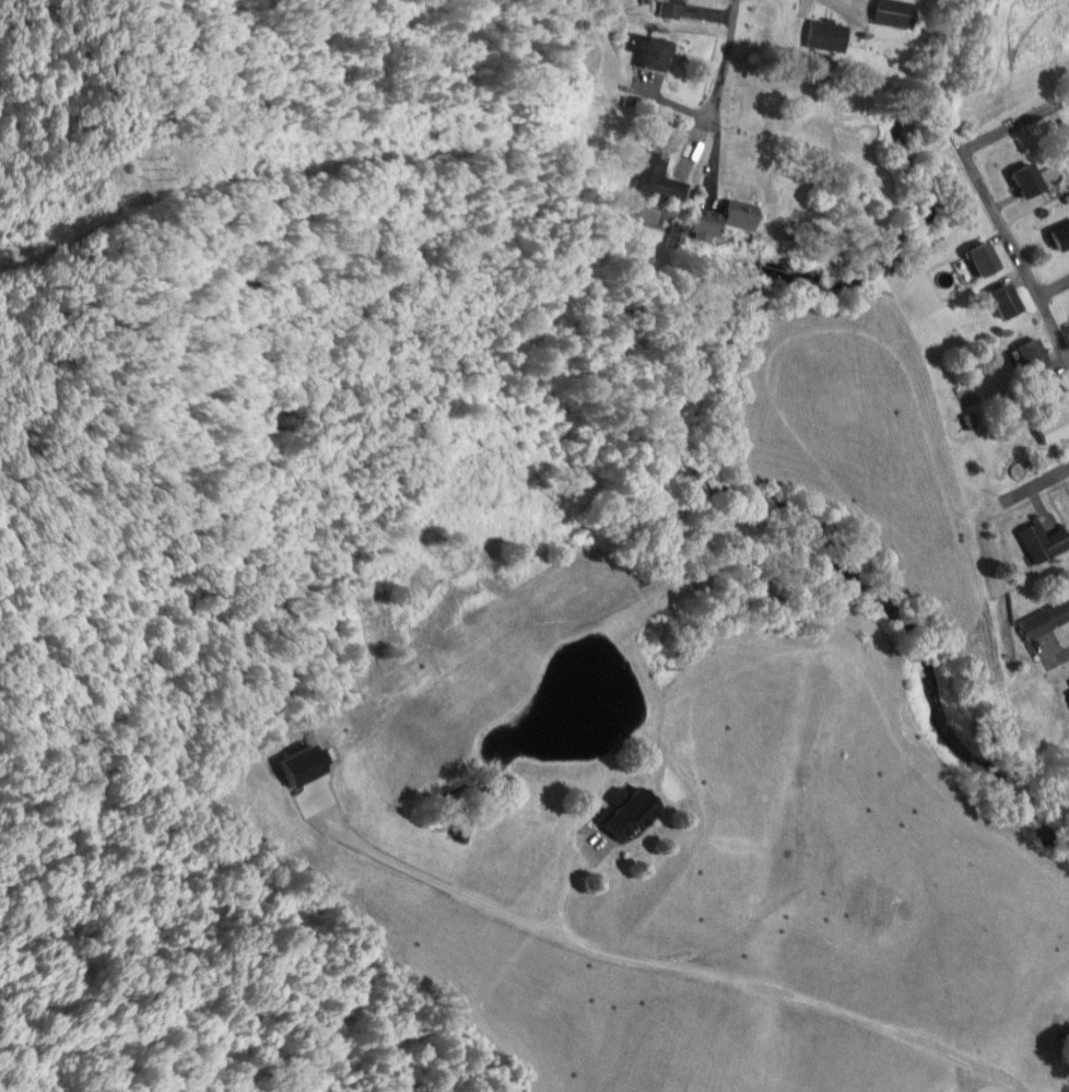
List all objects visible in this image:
road: (858, 1)
building: (673, 9)
building: (895, 13)
building: (829, 36)
building: (653, 50)
road: (724, 64)
road: (1014, 120)
power tower: (134, 165)
building: (659, 178)
building: (1029, 180)
building: (718, 219)
building: (1061, 236)
road: (1013, 258)
building: (985, 259)
road: (1050, 287)
building: (1007, 302)
building: (1033, 354)
building: (1054, 426)
road: (1021, 525)
building: (1044, 542)
building: (1046, 620)
road: (1064, 686)
building: (633, 812)

